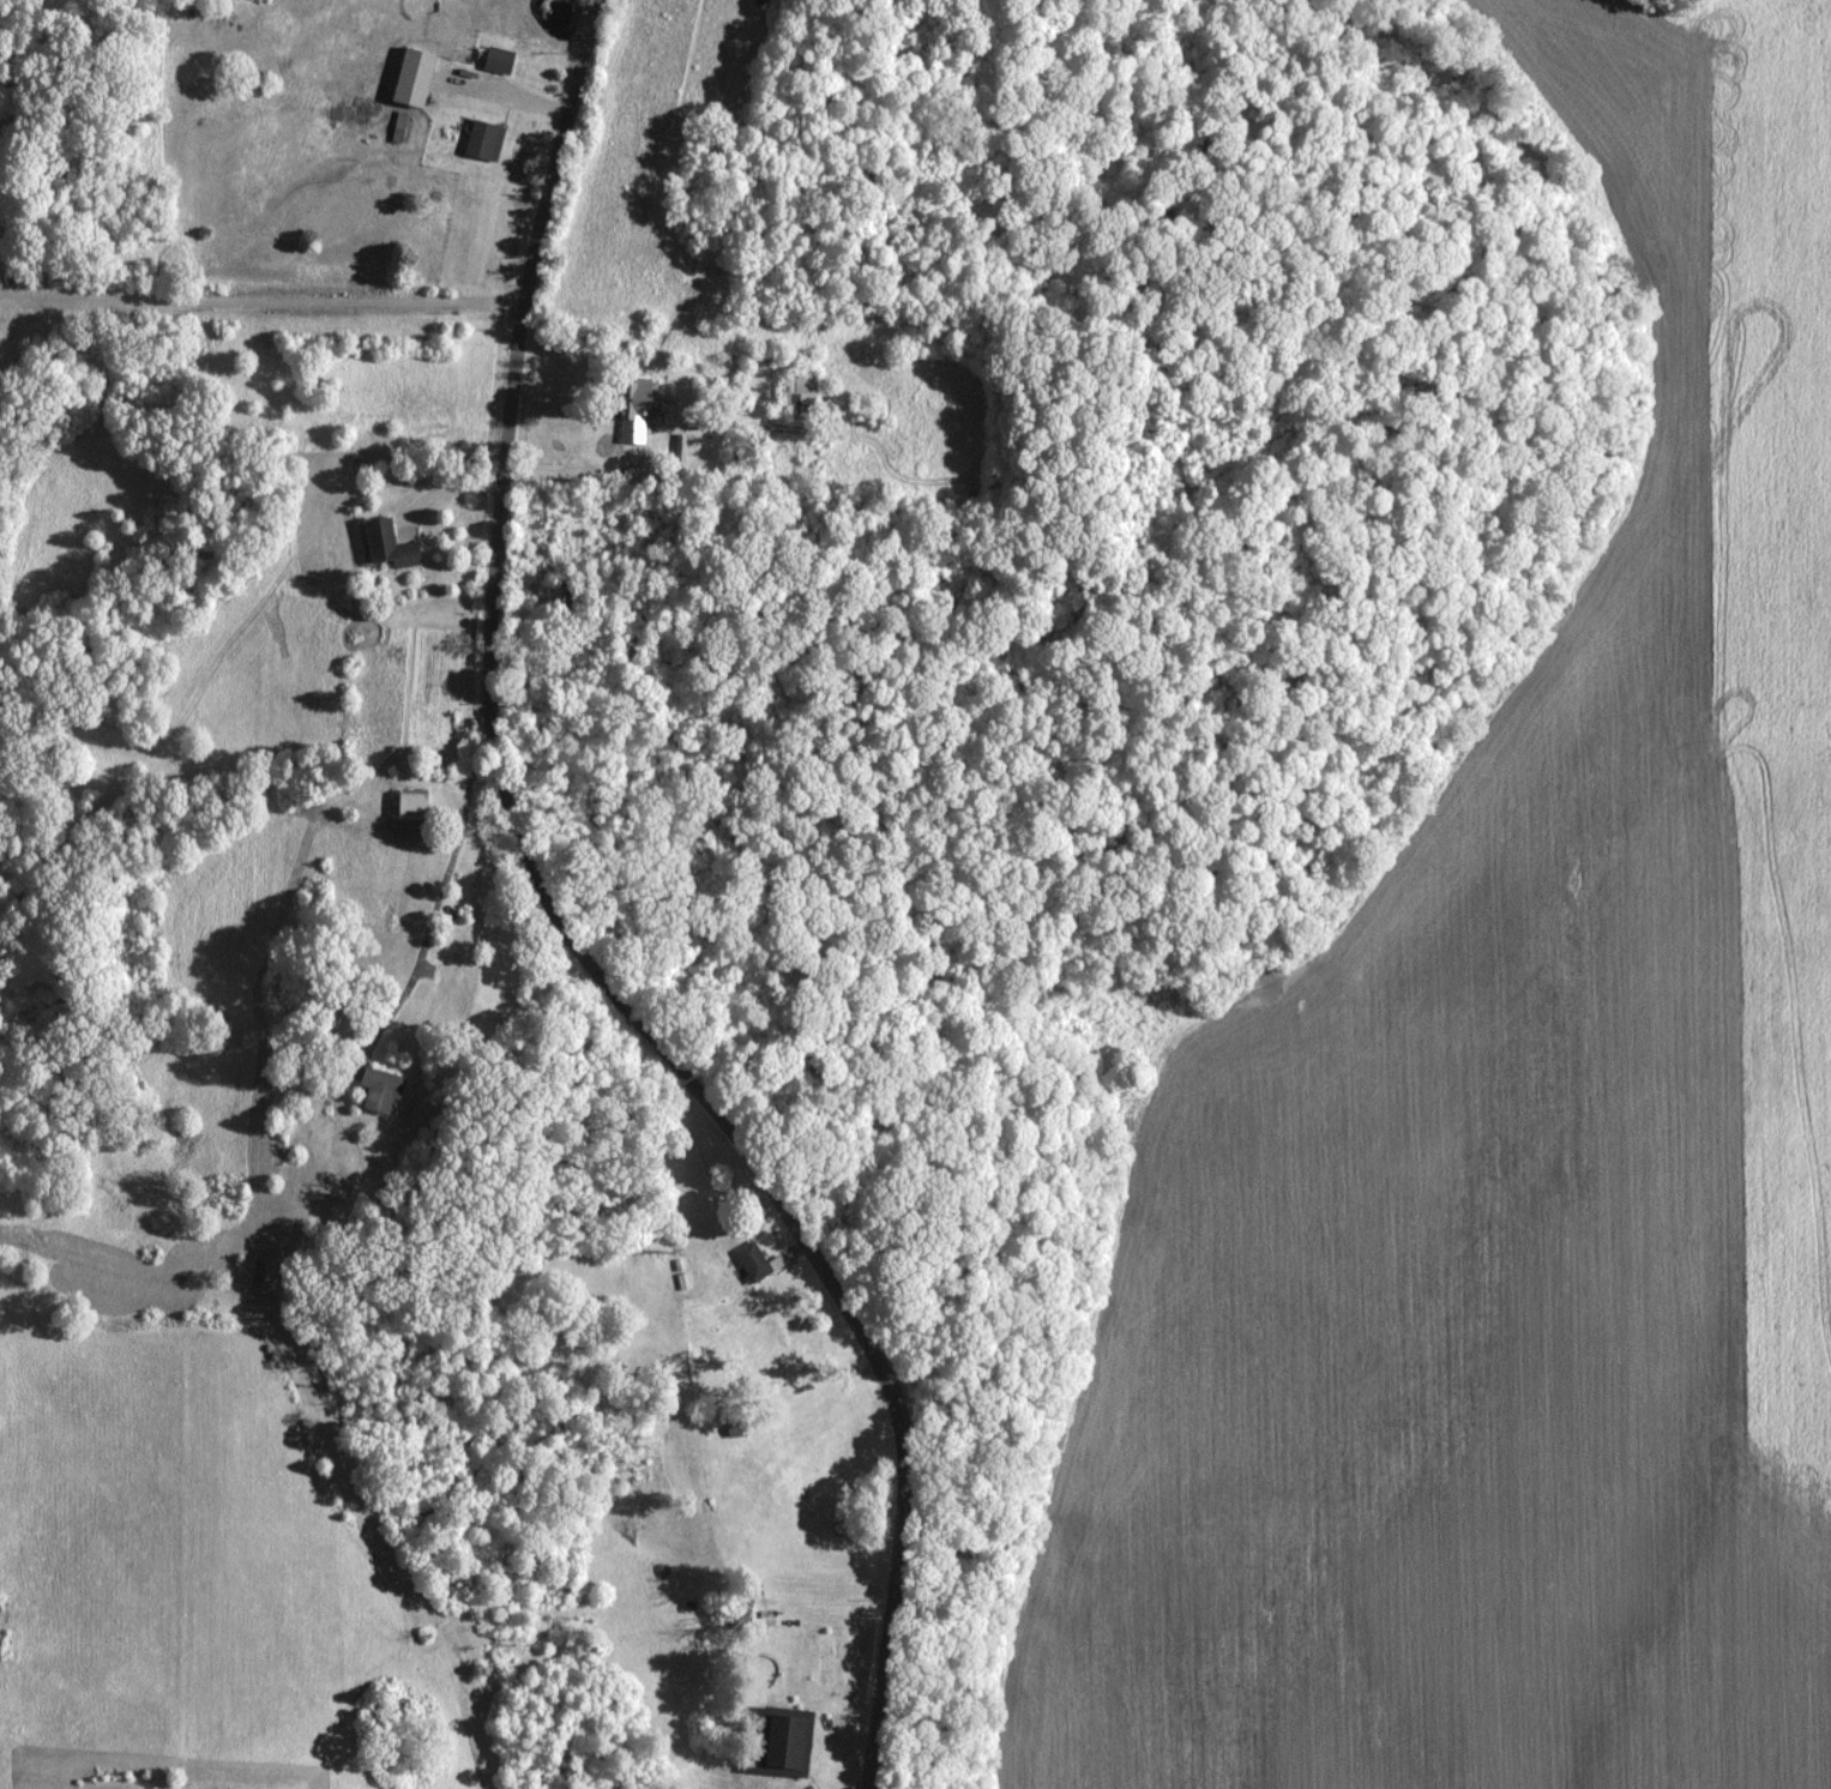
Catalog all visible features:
building: (495, 60)
building: (397, 127)
building: (481, 141)
building: (796, 393)
building: (631, 409)
building: (386, 546)
building: (560, 597)
building: (408, 806)
road: (567, 934)
building: (377, 1089)
building: (749, 1261)
building: (781, 1741)

